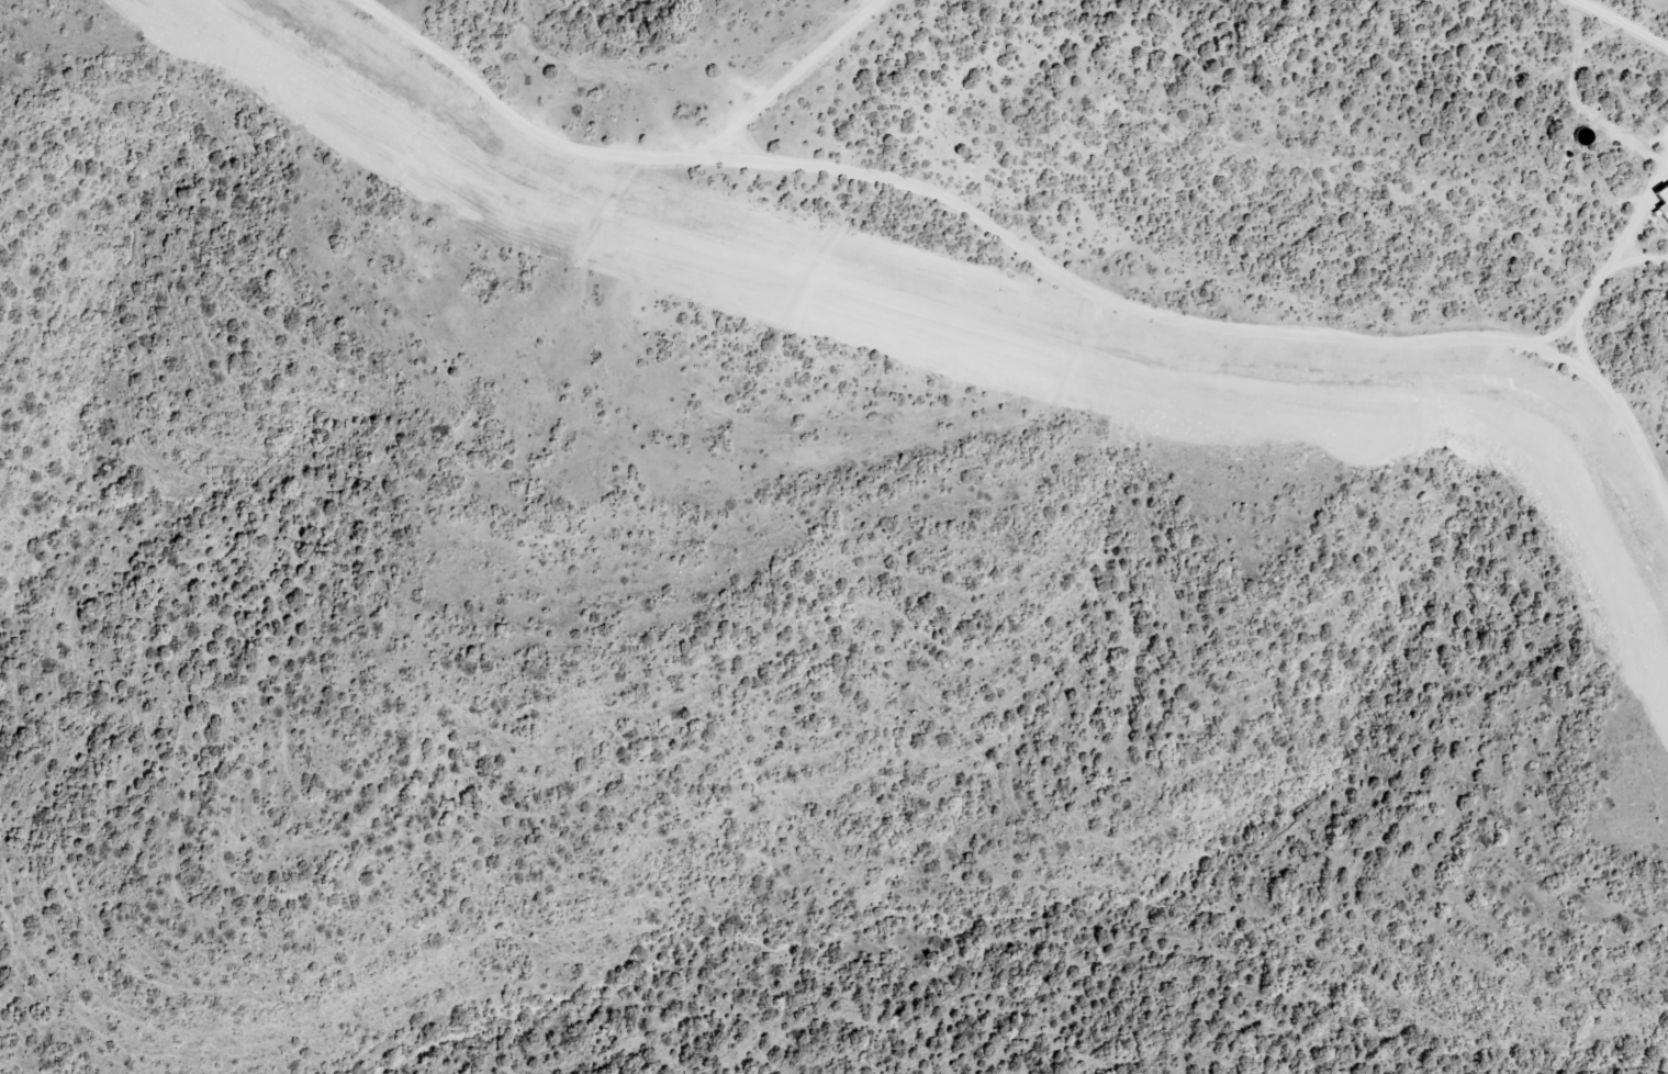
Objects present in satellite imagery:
building: (1663, 202)
road: (1023, 245)

